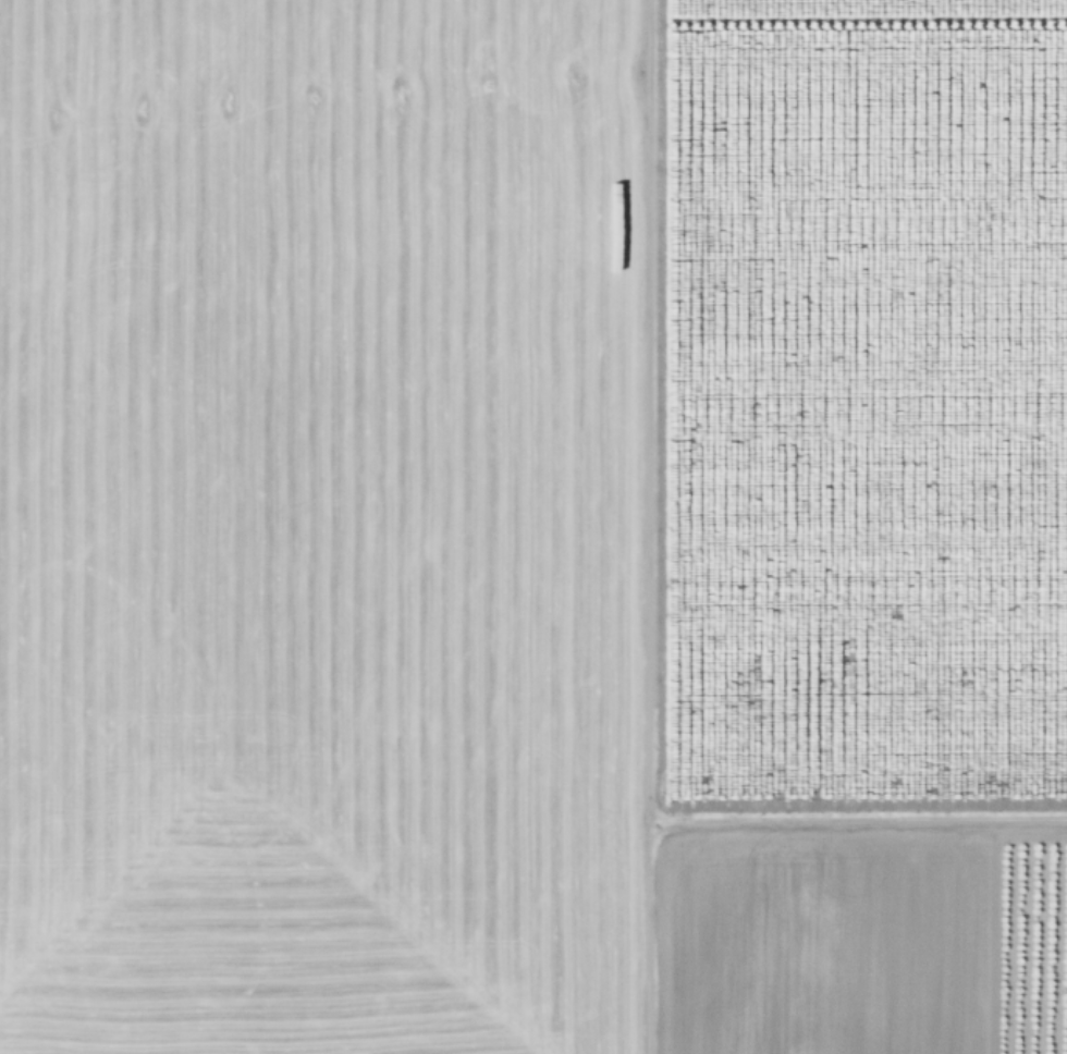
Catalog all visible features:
crop: (388, 575)

